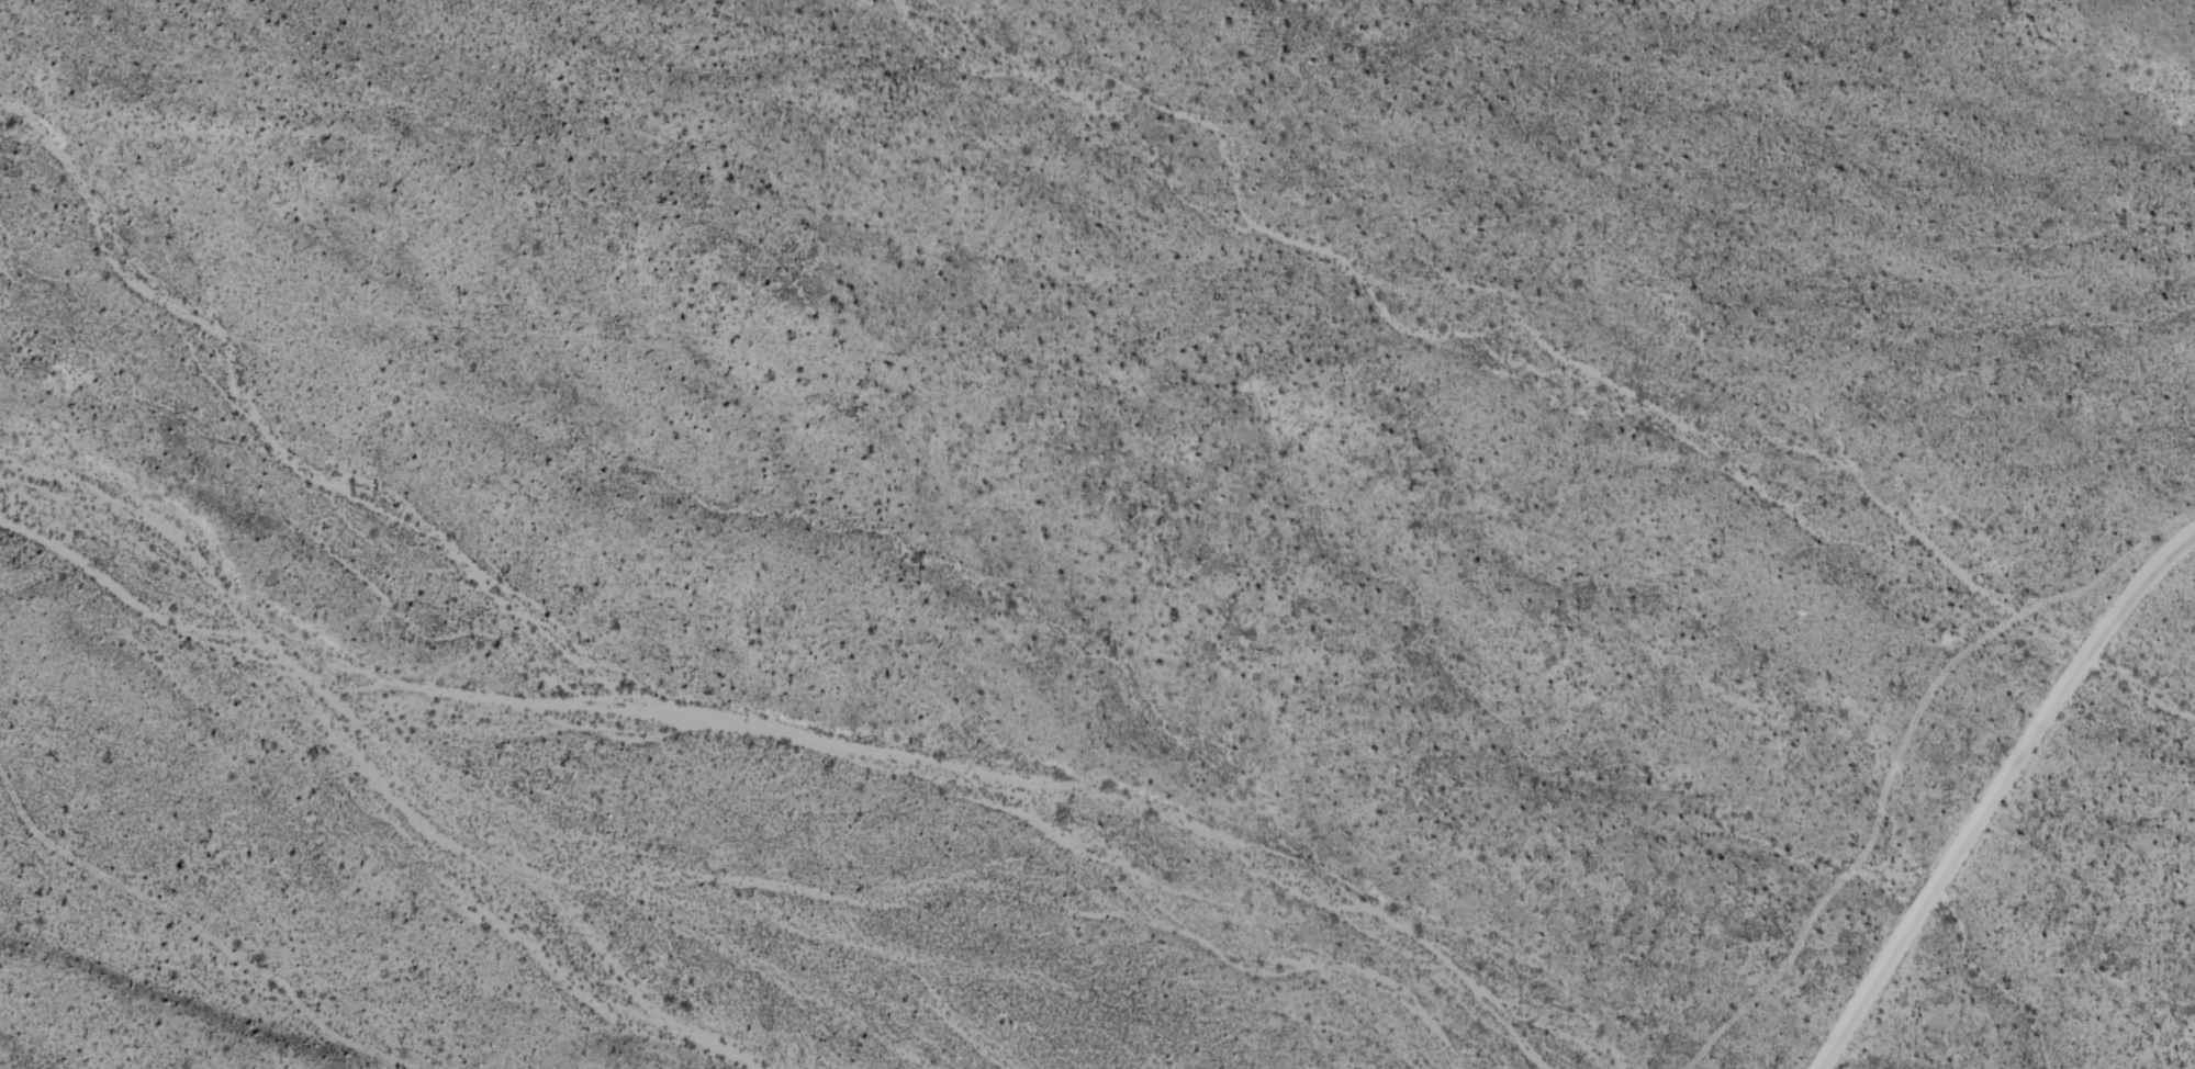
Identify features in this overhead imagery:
road: (1996, 792)

